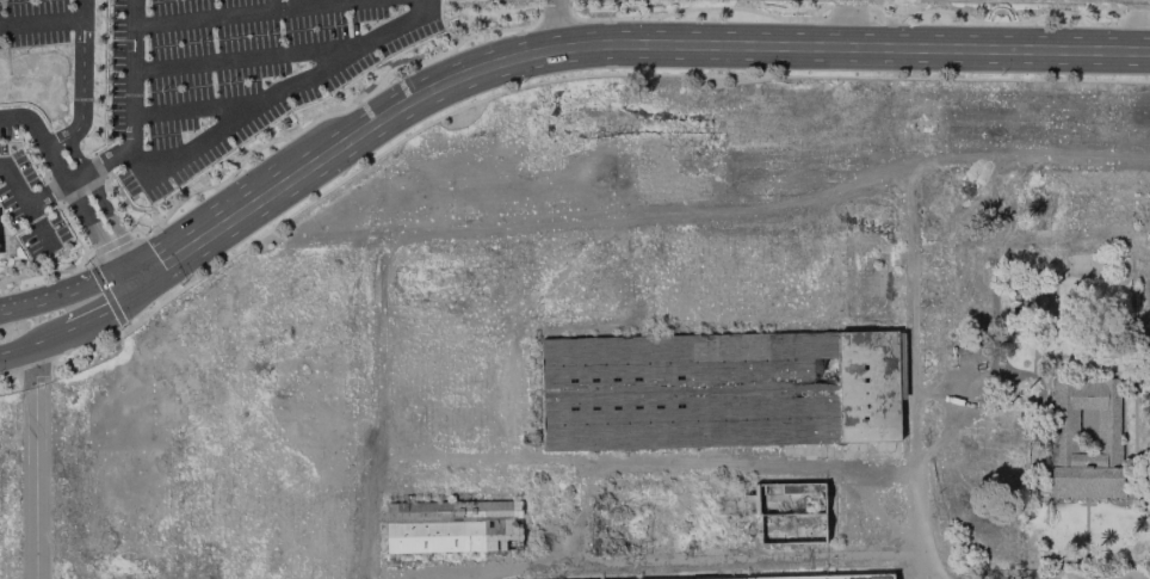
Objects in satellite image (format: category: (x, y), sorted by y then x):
road: (330, 5)
road: (538, 14)
road: (208, 17)
parking lot: (32, 23)
road: (41, 23)
road: (443, 24)
road: (557, 24)
road: (435, 42)
road: (610, 47)
road: (251, 57)
road: (81, 72)
parking lot: (233, 73)
road: (131, 75)
road: (274, 93)
road: (197, 107)
road: (30, 121)
road: (57, 142)
road: (248, 154)
road: (218, 168)
road: (78, 175)
road: (13, 185)
road: (94, 191)
parking lot: (27, 199)
road: (78, 202)
road: (766, 204)
road: (66, 215)
road: (37, 226)
road: (128, 235)
road: (4, 257)
road: (125, 264)
road: (62, 270)
road: (111, 282)
road: (104, 292)
road: (43, 298)
road: (104, 310)
road: (49, 337)
road: (17, 350)
road: (914, 365)
building: (718, 389)
building: (1107, 431)
road: (709, 461)
road: (33, 462)
building: (791, 513)
building: (452, 526)
road: (687, 556)
road: (929, 567)
building: (831, 577)

